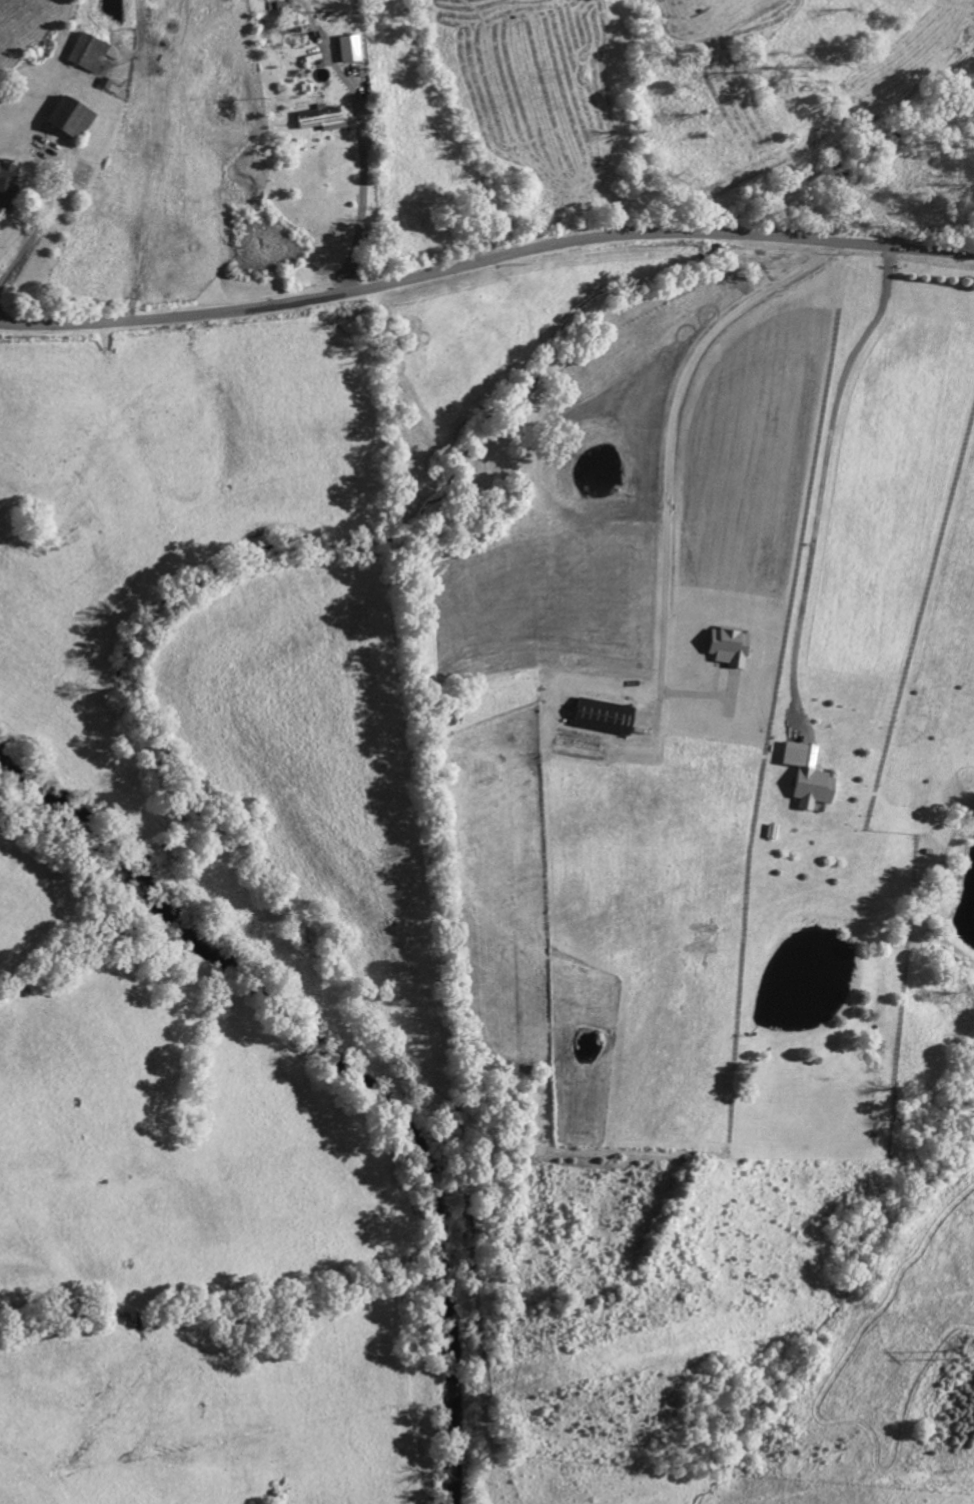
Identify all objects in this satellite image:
building: (345, 51)
building: (86, 56)
building: (66, 121)
building: (317, 121)
road: (358, 144)
building: (5, 185)
road: (43, 219)
road: (485, 265)
road: (666, 432)
road: (824, 487)
building: (727, 649)
building: (602, 719)
building: (807, 779)
power tower: (953, 1353)

